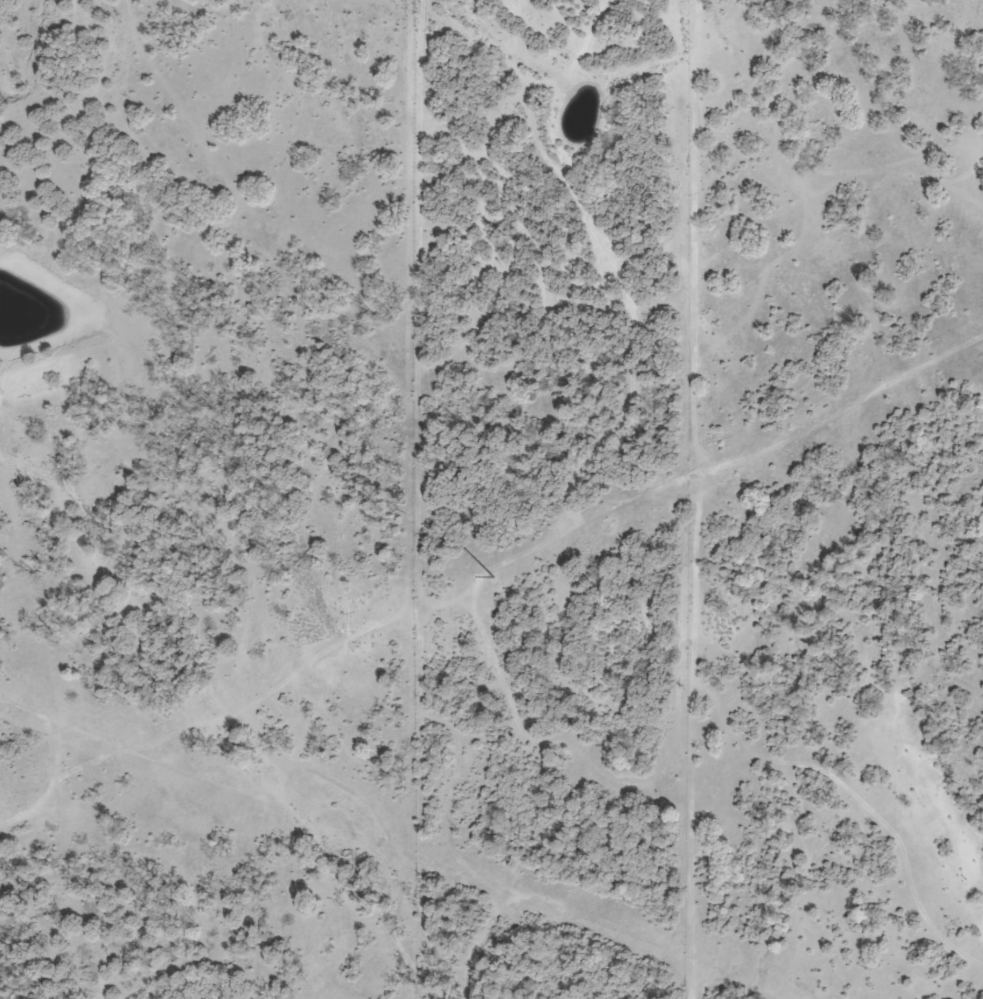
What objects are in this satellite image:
power tower: (496, 576)

